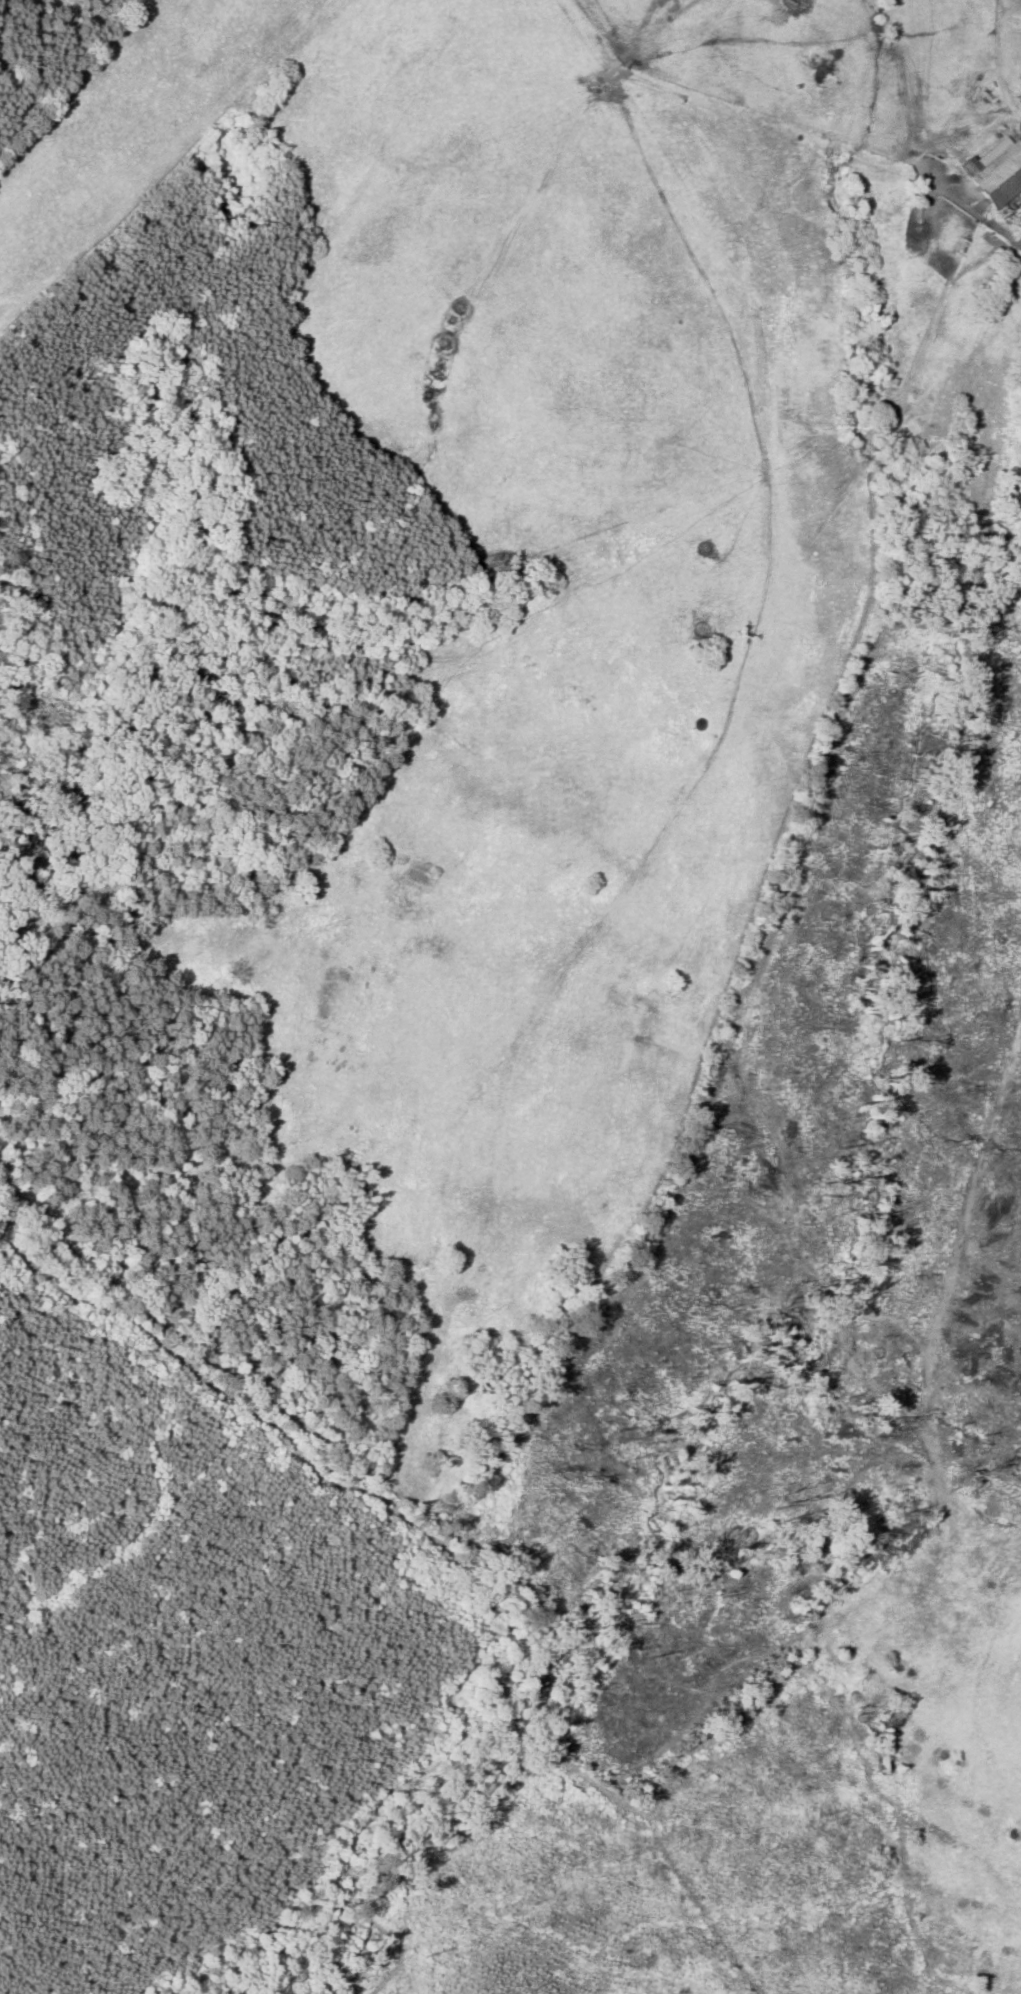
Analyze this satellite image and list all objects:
building: (998, 174)

